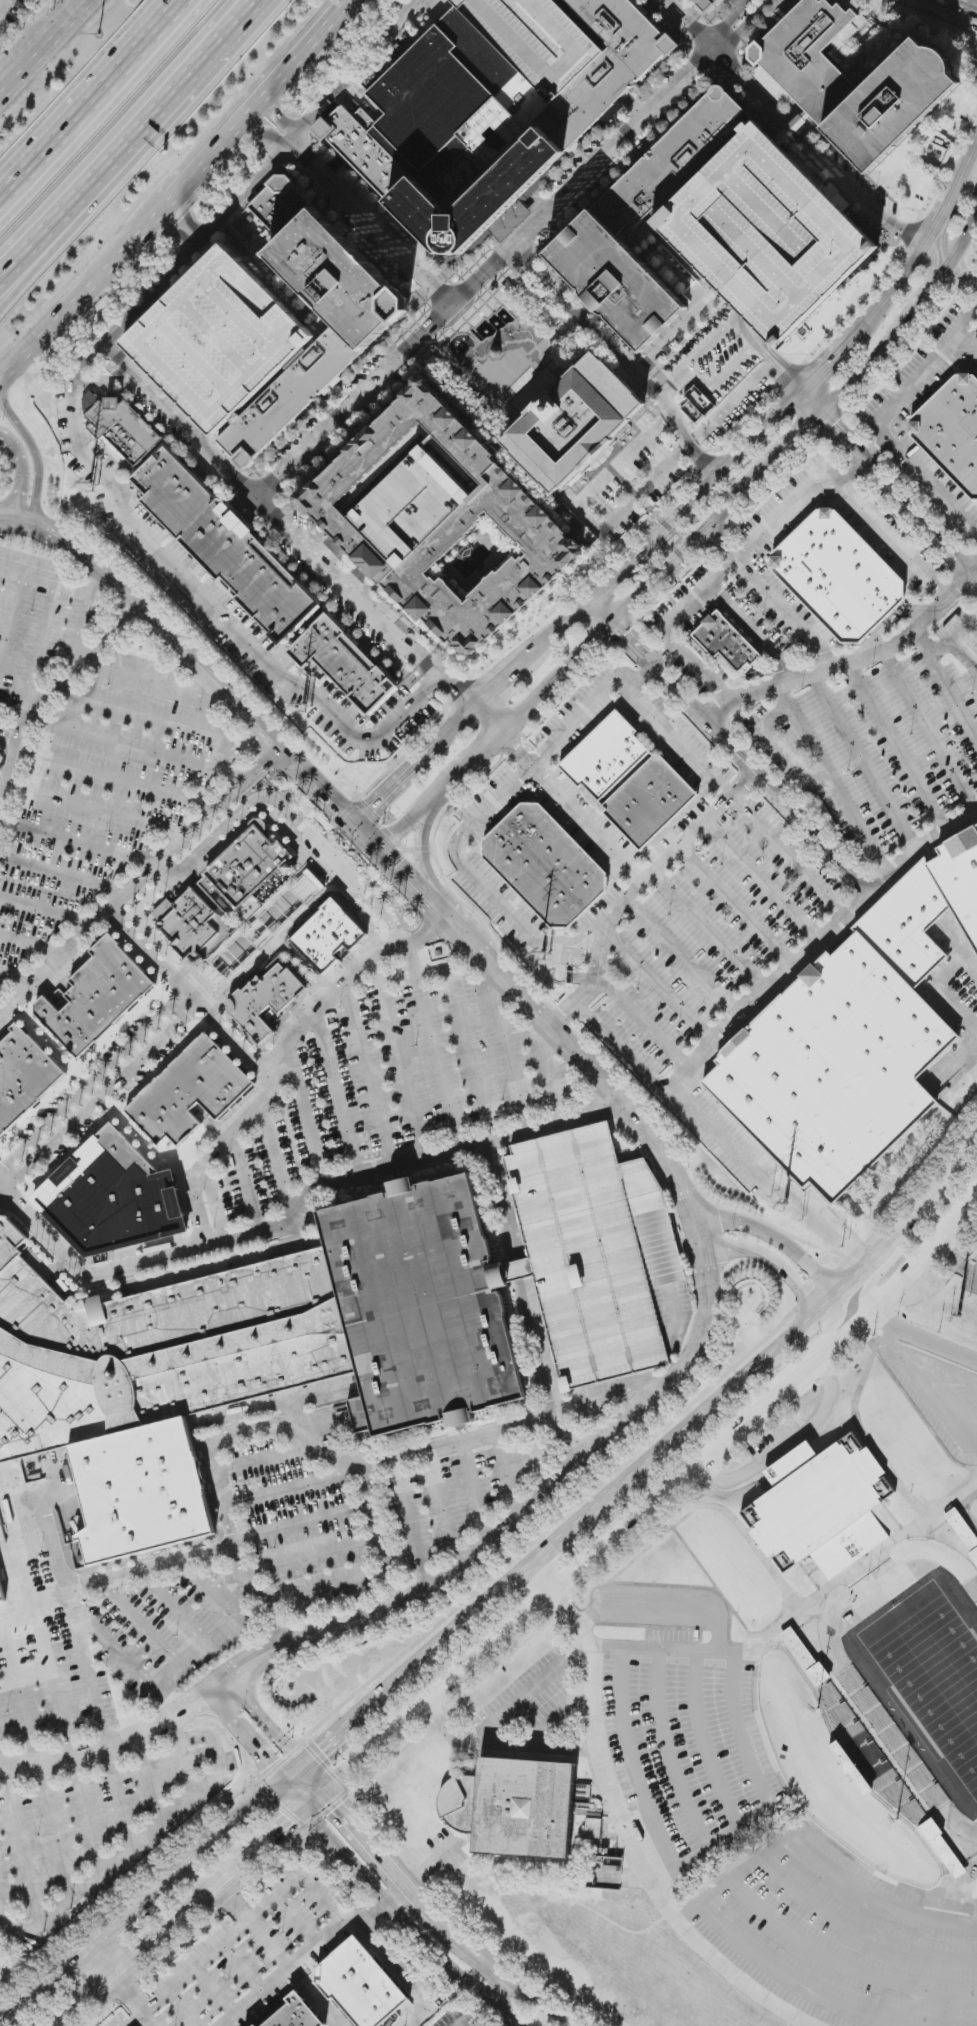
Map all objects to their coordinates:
road: (4, 5)
building: (709, 6)
road: (959, 6)
road: (348, 7)
road: (731, 24)
road: (746, 28)
building: (537, 39)
parking garage: (537, 39)
road: (50, 42)
building: (806, 60)
road: (298, 62)
building: (606, 68)
road: (5, 90)
road: (89, 92)
building: (892, 104)
road: (790, 128)
building: (448, 136)
road: (134, 145)
road: (213, 156)
road: (966, 163)
road: (262, 172)
building: (659, 173)
road: (351, 209)
building: (275, 210)
road: (187, 218)
road: (939, 220)
road: (949, 226)
road: (145, 230)
road: (175, 232)
building: (766, 232)
parking garage: (766, 232)
road: (46, 250)
parking lot: (975, 264)
road: (964, 269)
road: (485, 274)
road: (927, 281)
road: (887, 295)
road: (909, 319)
road: (62, 322)
road: (737, 324)
road: (966, 336)
building: (219, 340)
parking garage: (219, 340)
building: (346, 341)
road: (621, 356)
road: (766, 356)
road: (825, 365)
road: (924, 366)
road: (671, 379)
road: (700, 379)
road: (813, 401)
parking lot: (935, 417)
building: (573, 423)
building: (122, 426)
building: (952, 428)
road: (800, 435)
road: (28, 444)
road: (21, 470)
road: (920, 475)
road: (712, 478)
road: (900, 497)
road: (587, 515)
building: (440, 522)
road: (285, 529)
road: (889, 540)
building: (225, 544)
road: (740, 551)
road: (973, 570)
building: (837, 573)
road: (58, 581)
road: (605, 584)
road: (638, 594)
road: (772, 594)
road: (202, 598)
road: (599, 612)
road: (12, 618)
road: (752, 630)
road: (554, 632)
road: (79, 634)
building: (726, 642)
road: (924, 642)
road: (41, 647)
road: (964, 655)
building: (345, 664)
road: (658, 670)
road: (76, 672)
road: (940, 672)
road: (703, 673)
road: (153, 679)
road: (497, 684)
road: (592, 705)
road: (463, 716)
road: (487, 717)
road: (930, 729)
road: (682, 742)
road: (727, 743)
road: (898, 745)
parking lot: (91, 748)
road: (136, 748)
road: (480, 748)
road: (777, 750)
road: (866, 761)
road: (11, 771)
road: (456, 772)
road: (109, 776)
road: (403, 776)
building: (629, 780)
road: (834, 780)
road: (571, 806)
road: (95, 808)
road: (290, 811)
road: (415, 813)
parking lot: (582, 814)
road: (815, 835)
road: (76, 842)
road: (791, 857)
parking lot: (794, 858)
road: (427, 864)
building: (545, 865)
building: (246, 868)
road: (64, 875)
road: (475, 877)
road: (140, 881)
road: (765, 882)
building: (308, 888)
road: (737, 907)
building: (192, 926)
road: (710, 931)
building: (328, 934)
road: (31, 947)
road: (684, 957)
road: (18, 977)
road: (941, 984)
road: (659, 985)
building: (97, 997)
road: (756, 997)
road: (190, 999)
building: (265, 999)
building: (61, 1001)
road: (4, 1010)
road: (464, 1021)
road: (644, 1025)
building: (854, 1037)
road: (507, 1052)
road: (402, 1059)
road: (283, 1060)
road: (438, 1062)
road: (549, 1073)
road: (368, 1075)
building: (23, 1076)
parking lot: (397, 1079)
road: (91, 1080)
building: (191, 1092)
road: (336, 1095)
road: (104, 1098)
road: (306, 1120)
road: (553, 1125)
road: (720, 1135)
road: (279, 1159)
road: (248, 1187)
building: (113, 1198)
road: (688, 1198)
building: (1, 1206)
road: (777, 1240)
road: (232, 1244)
building: (599, 1256)
parking lot: (599, 1256)
road: (955, 1258)
road: (770, 1262)
road: (890, 1265)
road: (882, 1316)
road: (795, 1330)
road: (932, 1343)
road: (814, 1347)
building: (253, 1353)
road: (927, 1387)
road: (653, 1390)
road: (603, 1401)
road: (562, 1413)
road: (573, 1437)
road: (788, 1443)
road: (338, 1460)
building: (821, 1508)
road: (650, 1513)
road: (376, 1519)
road: (304, 1521)
building: (963, 1531)
road: (564, 1536)
parking lot: (304, 1549)
road: (544, 1582)
road: (210, 1592)
building: (2, 1593)
road: (68, 1599)
road: (259, 1599)
road: (297, 1599)
road: (177, 1606)
road: (665, 1613)
road: (449, 1638)
parking lot: (42, 1647)
building: (806, 1657)
park: (929, 1670)
road: (138, 1671)
road: (86, 1674)
road: (55, 1682)
road: (20, 1689)
road: (528, 1691)
road: (267, 1721)
road: (740, 1728)
road: (244, 1739)
road: (336, 1740)
road: (703, 1740)
traffic signals: (324, 1751)
road: (666, 1751)
road: (0, 1752)
road: (514, 1752)
road: (632, 1761)
traffic signals: (268, 1767)
building: (882, 1775)
road: (315, 1781)
traffic signals: (339, 1807)
building: (514, 1807)
parking lot: (97, 1816)
traffic signals: (295, 1821)
road: (237, 1823)
building: (593, 1828)
road: (146, 1836)
road: (278, 1836)
road: (631, 1842)
road: (817, 1858)
road: (386, 1864)
road: (432, 1865)
road: (396, 1898)
road: (323, 1899)
road: (392, 1912)
road: (131, 1914)
road: (858, 1933)
road: (155, 1942)
road: (218, 1951)
parking lot: (2, 1955)
road: (277, 1956)
road: (303, 1956)
road: (102, 1964)
road: (843, 1965)
road: (787, 1974)
road: (401, 1977)
road: (508, 1981)
building: (360, 1985)
road: (45, 1987)
road: (494, 1990)
road: (134, 2001)
building: (296, 2014)
road: (474, 2014)

